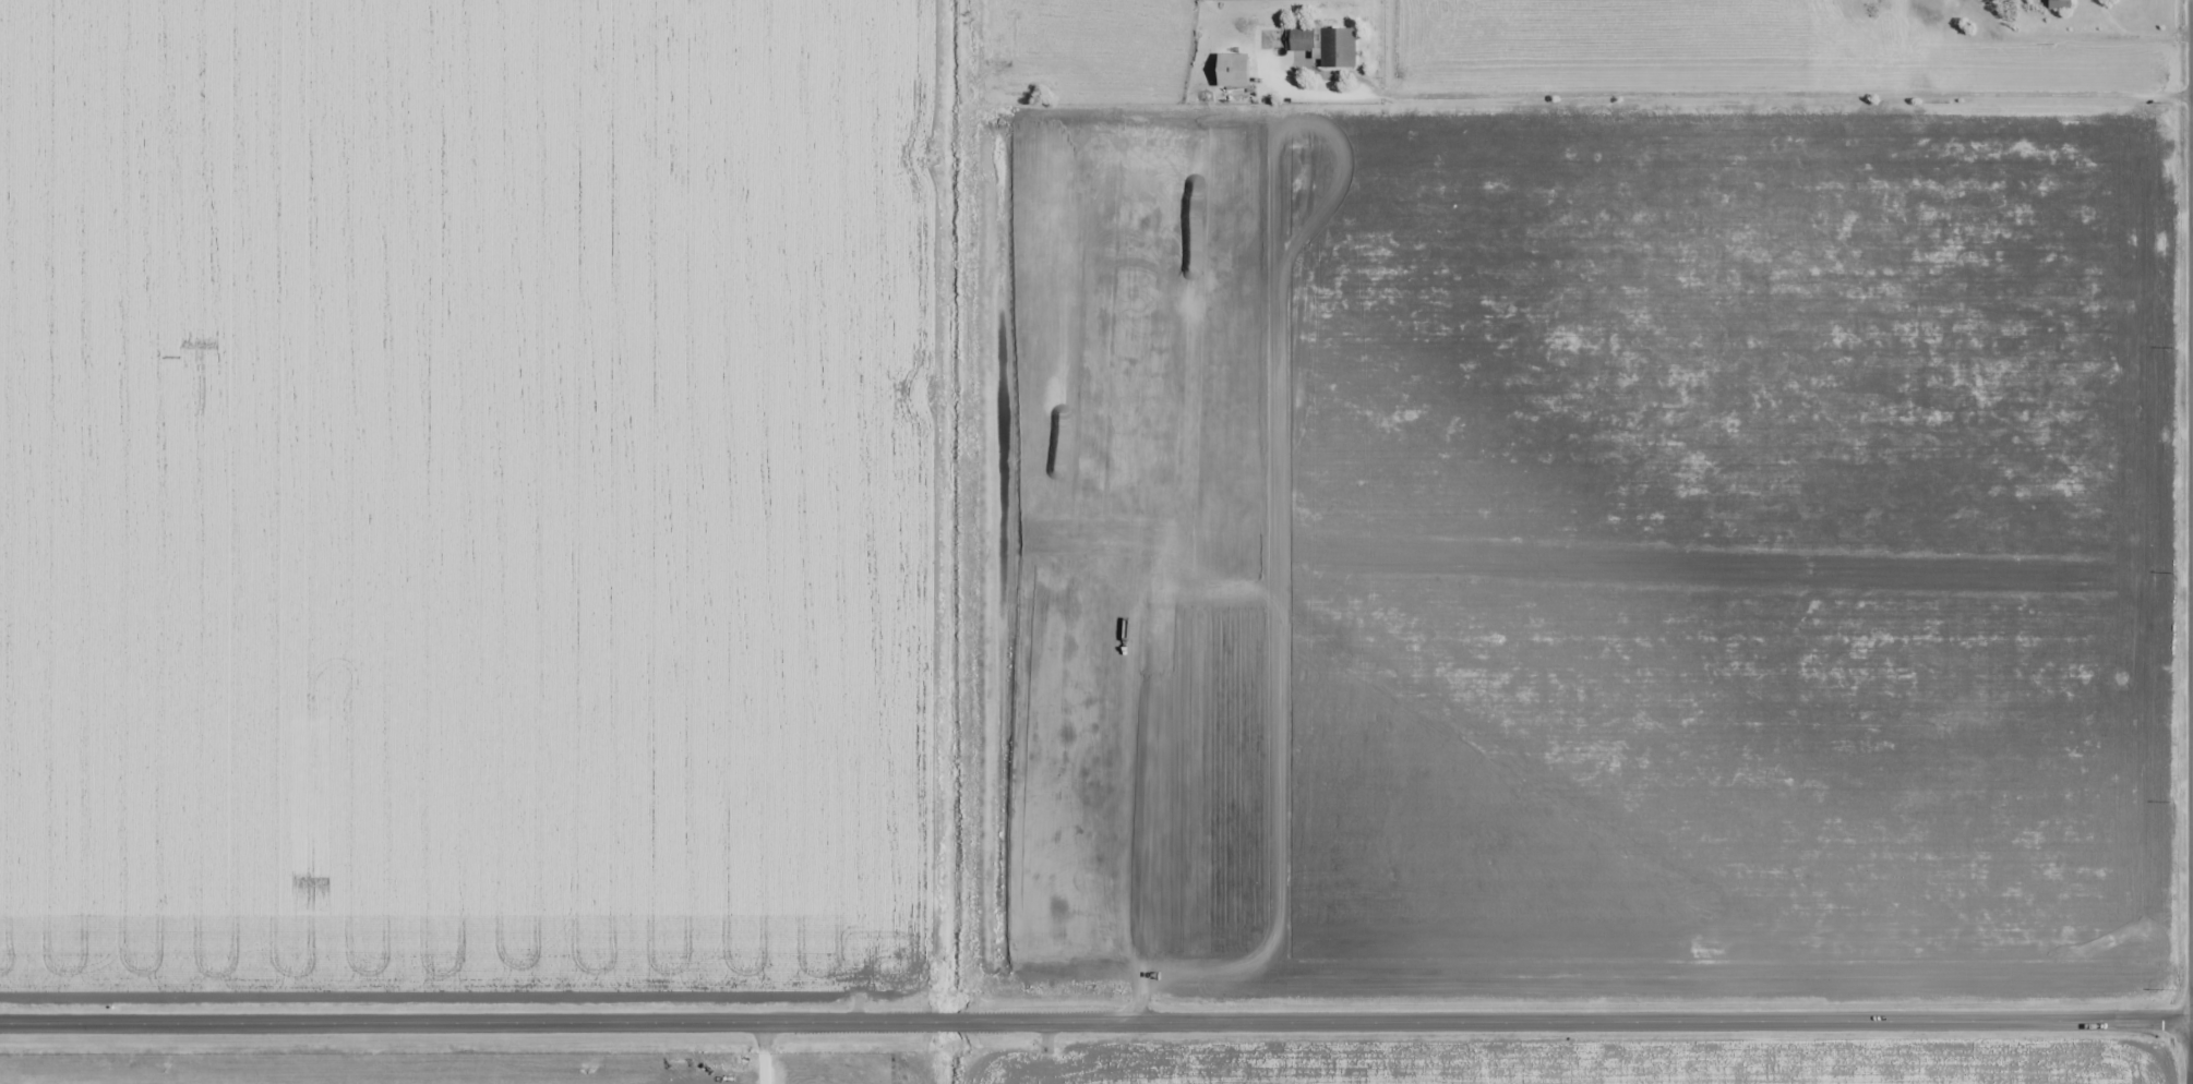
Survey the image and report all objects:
building: (2060, 4)
building: (1322, 44)
building: (1235, 69)
road: (1774, 94)
road: (2190, 311)
road: (1575, 1017)
road: (465, 1020)
road: (945, 1020)

